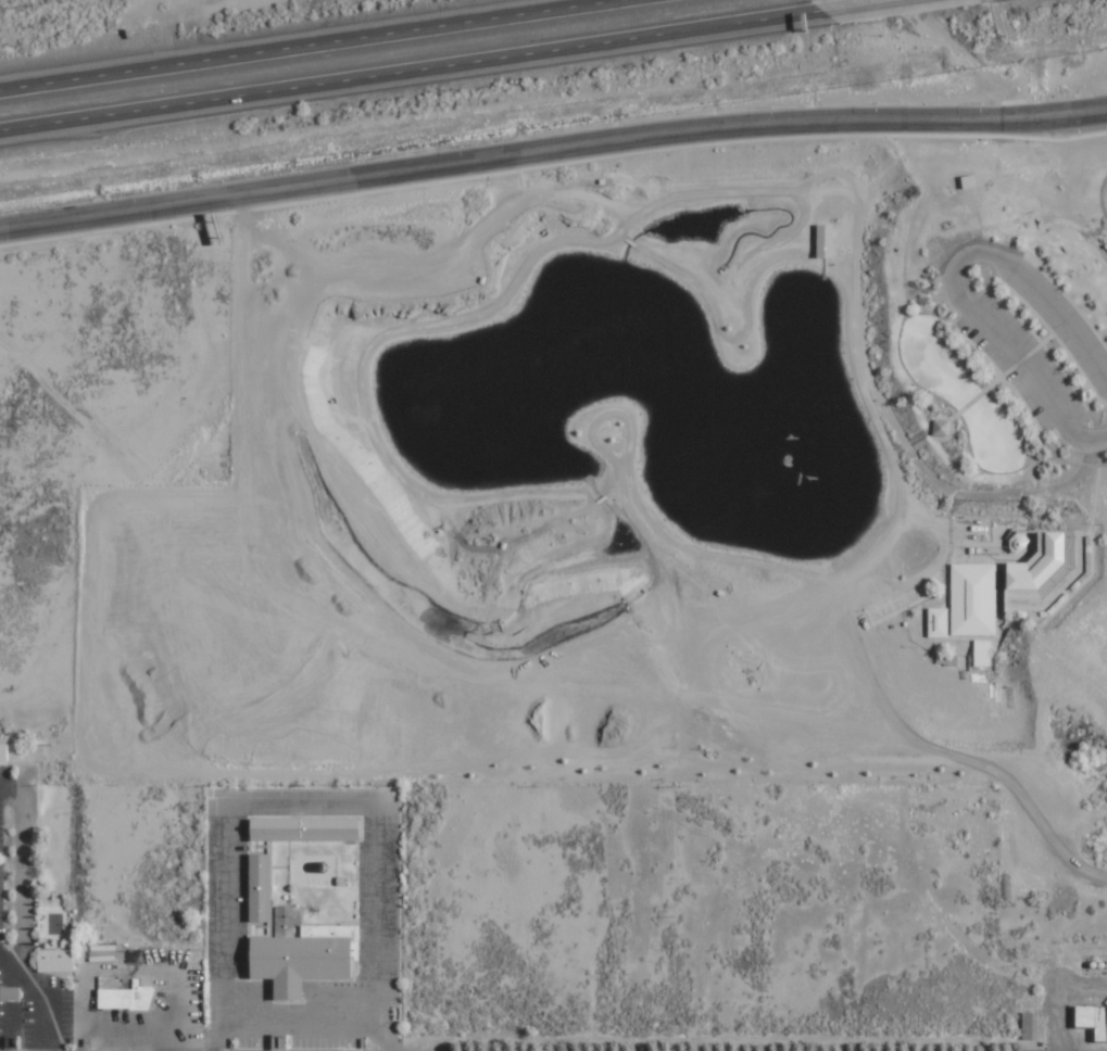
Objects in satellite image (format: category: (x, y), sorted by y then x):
road: (859, 5)
road: (316, 45)
road: (411, 69)
railway: (1012, 99)
road: (551, 150)
building: (826, 241)
building: (1041, 562)
building: (973, 598)
building: (938, 622)
building: (982, 653)
building: (4, 755)
road: (300, 809)
building: (274, 830)
building: (331, 831)
building: (340, 882)
road: (219, 884)
building: (259, 888)
road: (379, 897)
building: (301, 953)
building: (55, 960)
building: (108, 982)
building: (10, 993)
building: (128, 996)
road: (217, 1004)
road: (377, 1020)
building: (1093, 1020)
road: (297, 1021)
building: (1030, 1026)

